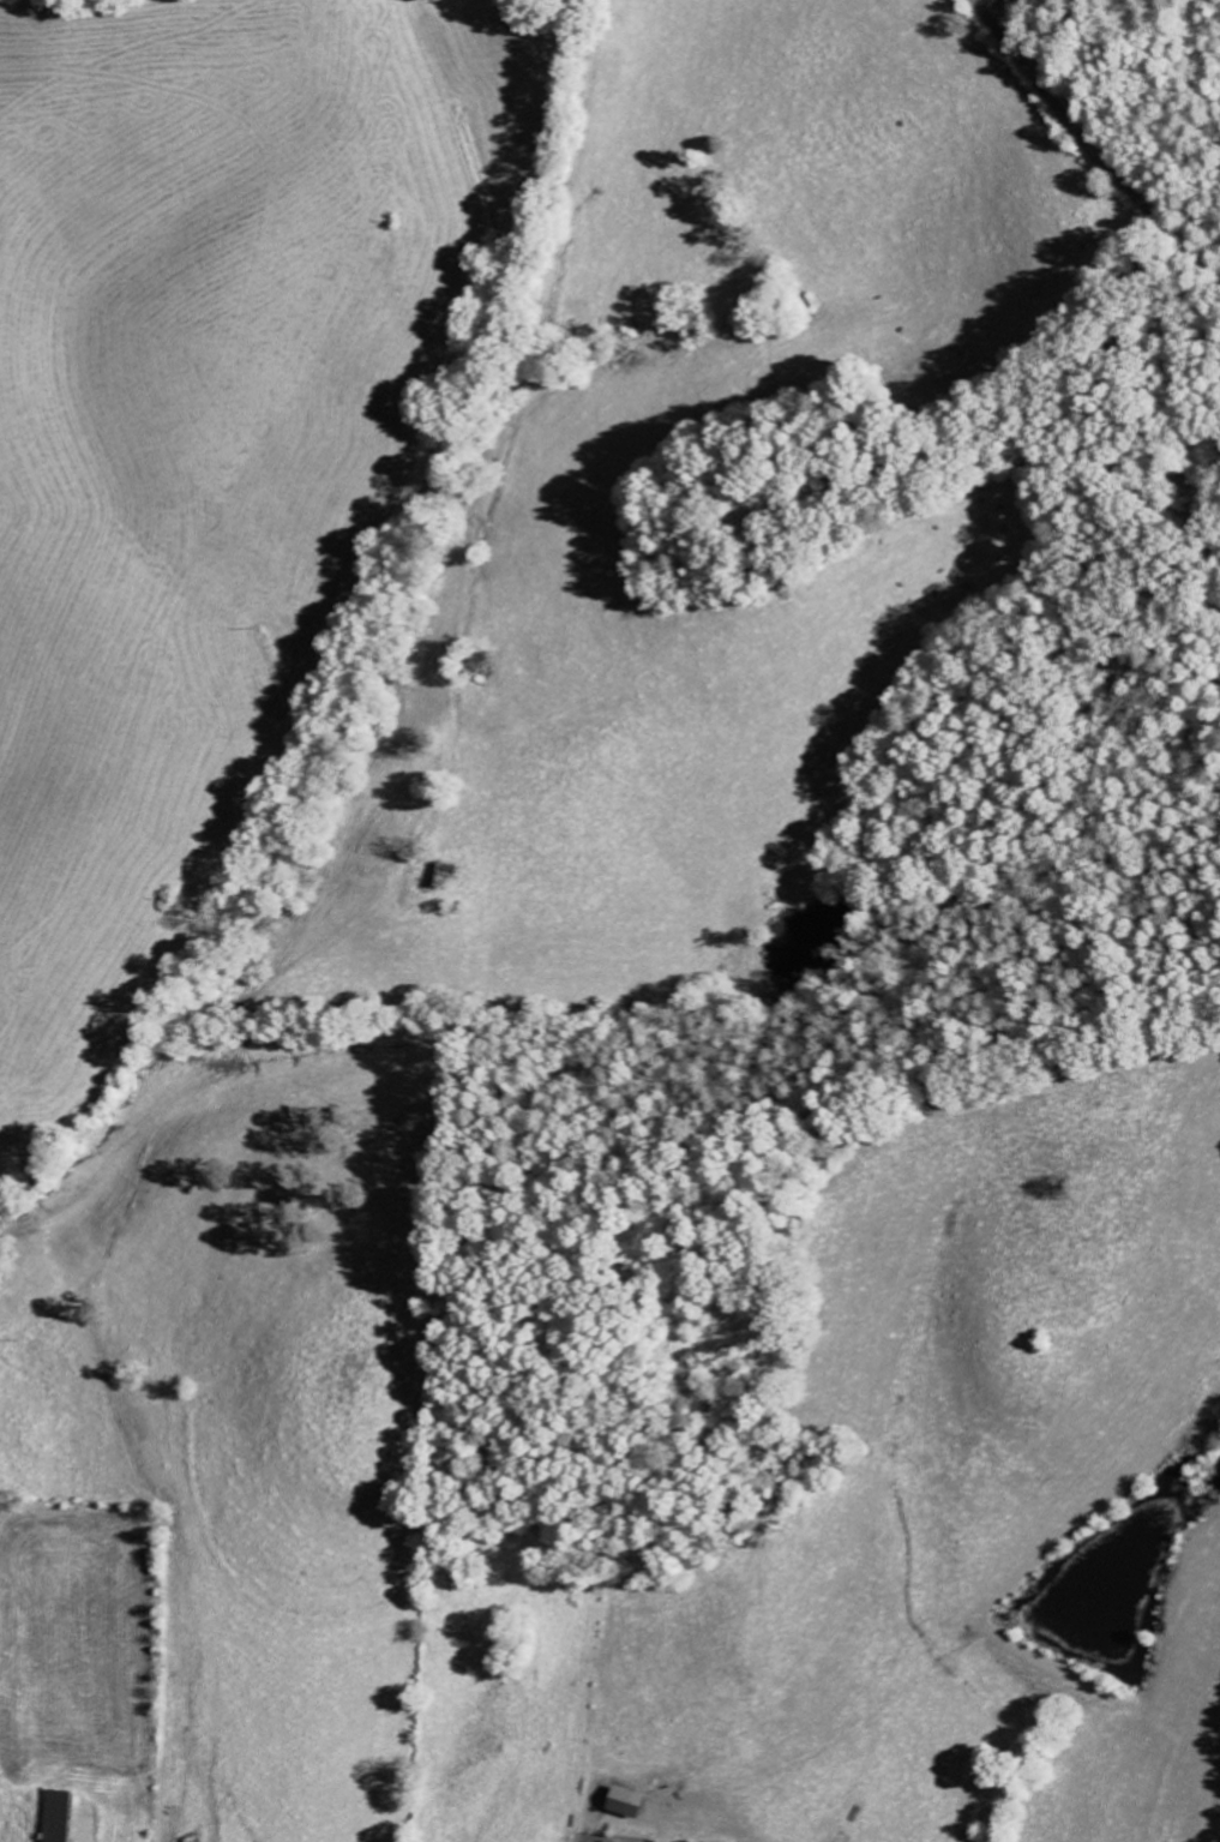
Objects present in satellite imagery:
road: (1088, 145)
building: (52, 1817)

